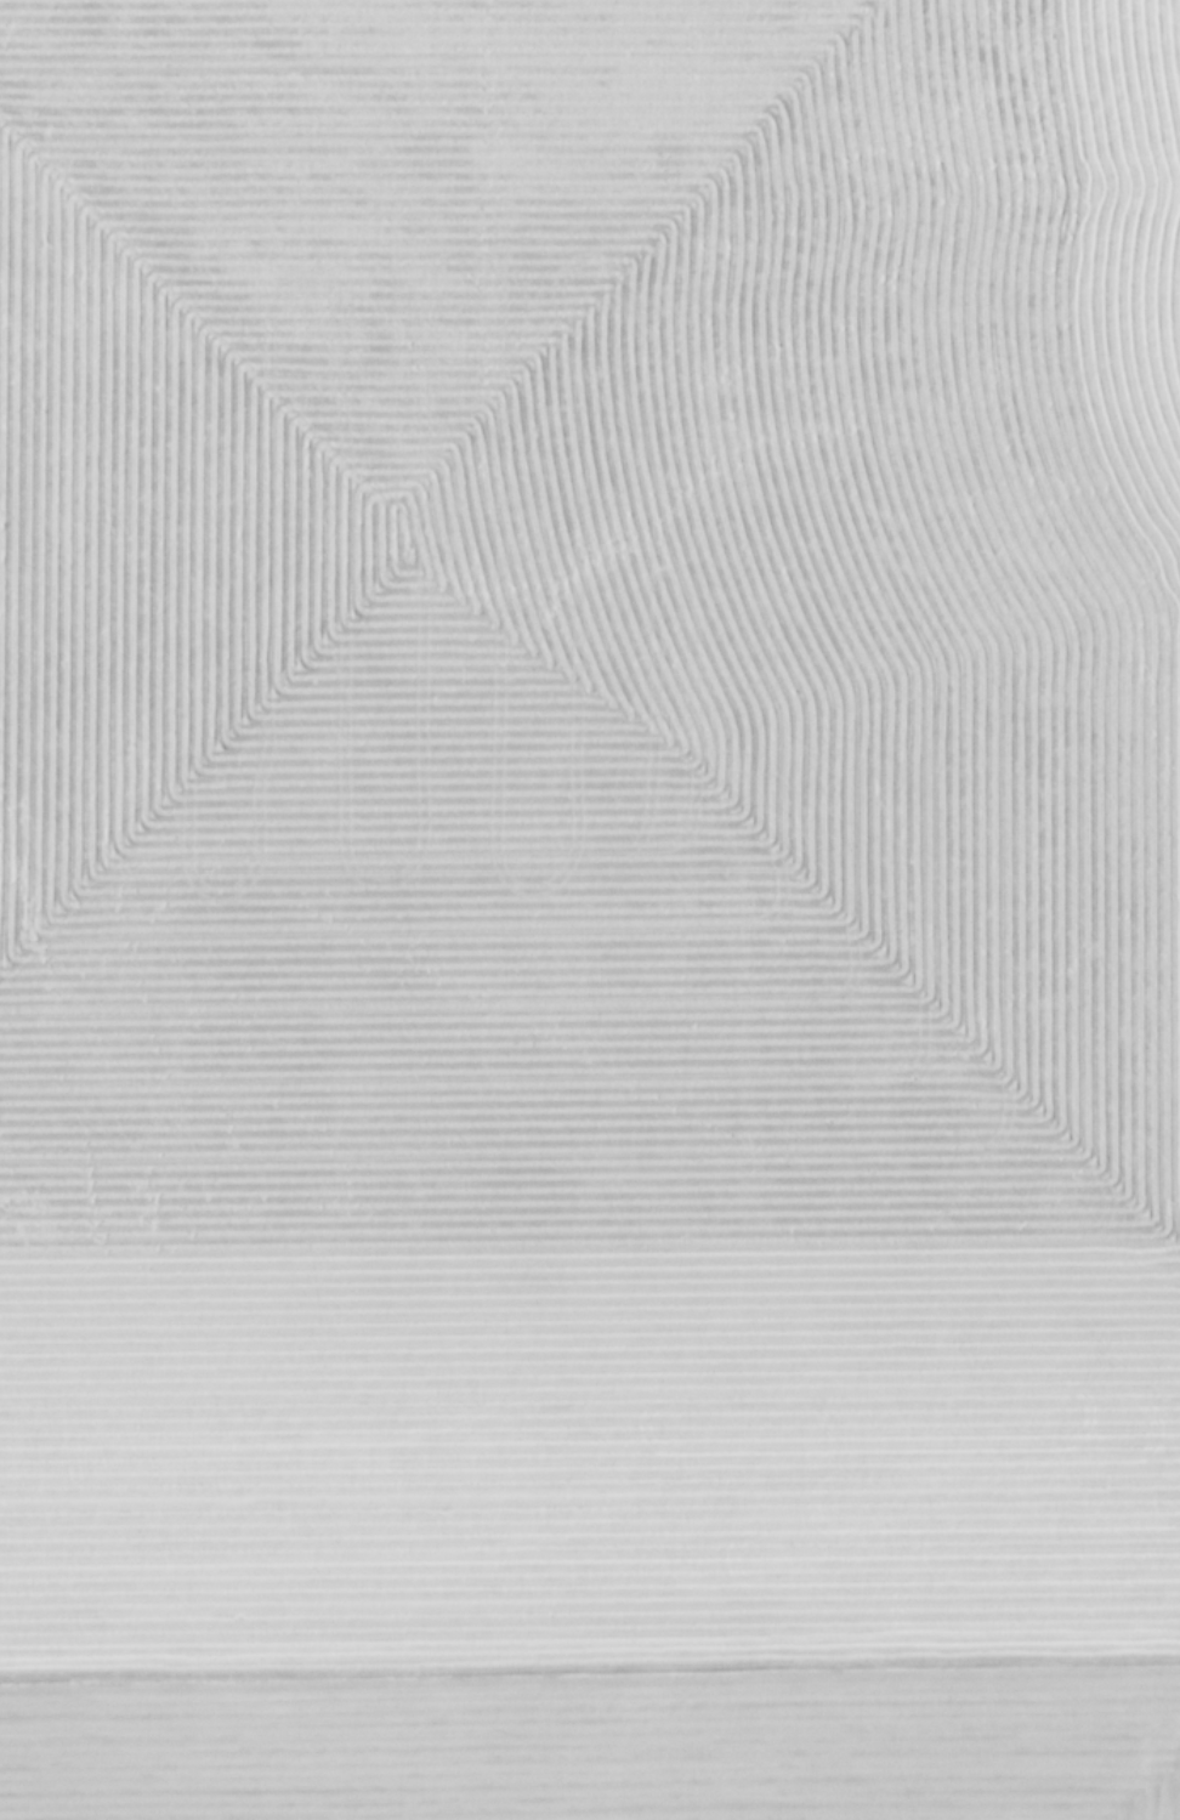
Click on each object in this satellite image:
crop: (590, 909)

